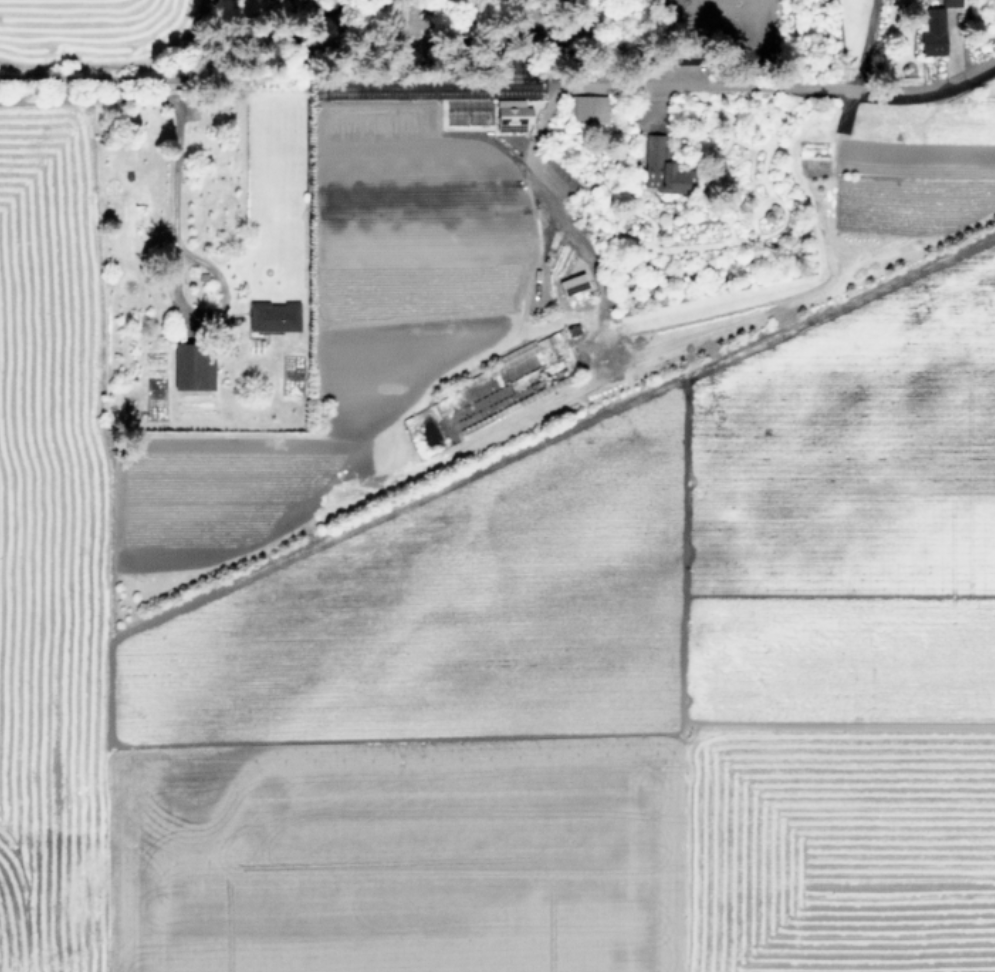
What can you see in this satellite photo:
building: (950, 2)
building: (932, 32)
road: (67, 75)
road: (786, 83)
road: (159, 100)
building: (586, 108)
building: (511, 114)
building: (660, 167)
road: (190, 256)
building: (572, 283)
building: (273, 316)
building: (192, 367)
crop: (490, 537)

